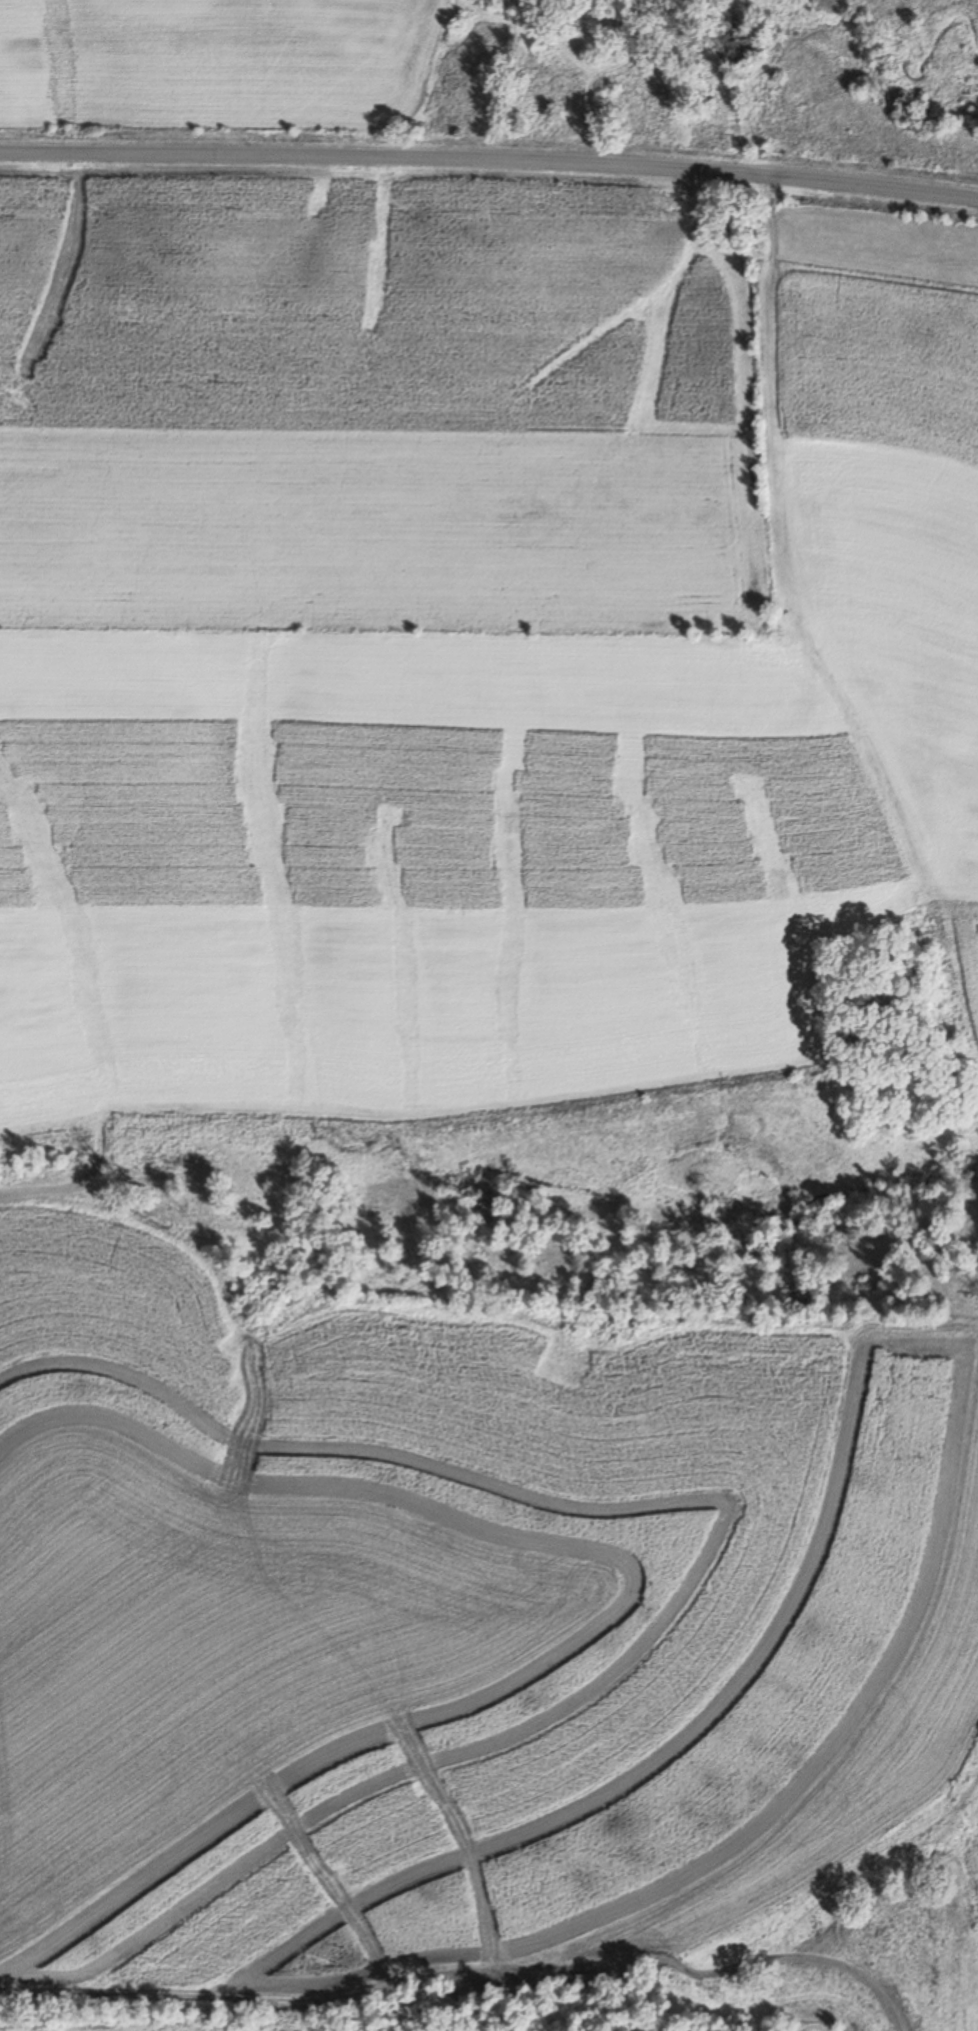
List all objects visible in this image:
road: (490, 166)

